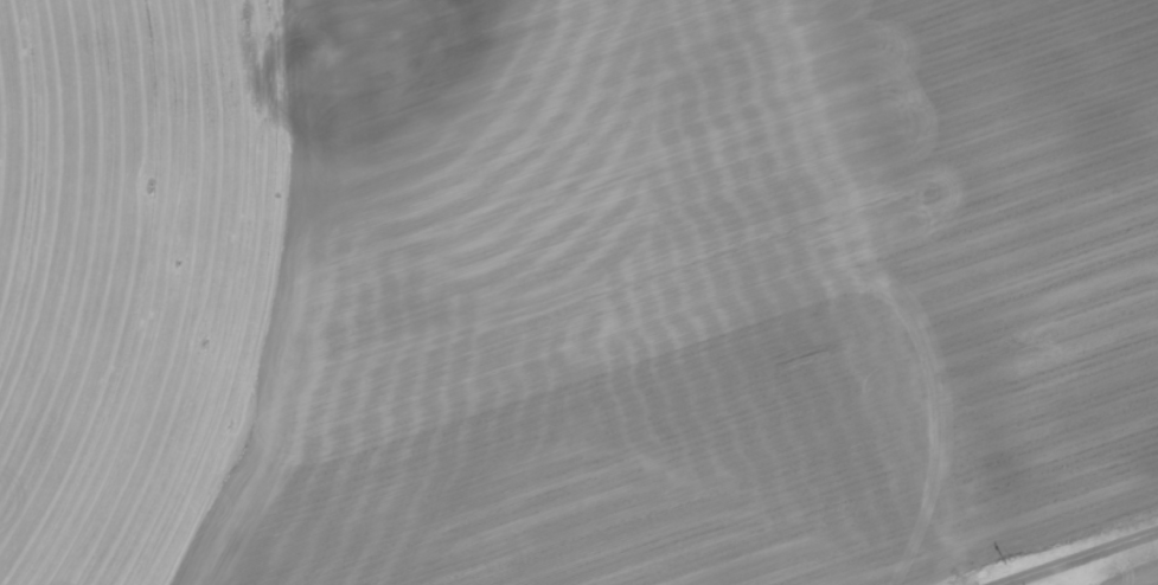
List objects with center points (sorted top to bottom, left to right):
road: (870, 294)
road: (1077, 557)

